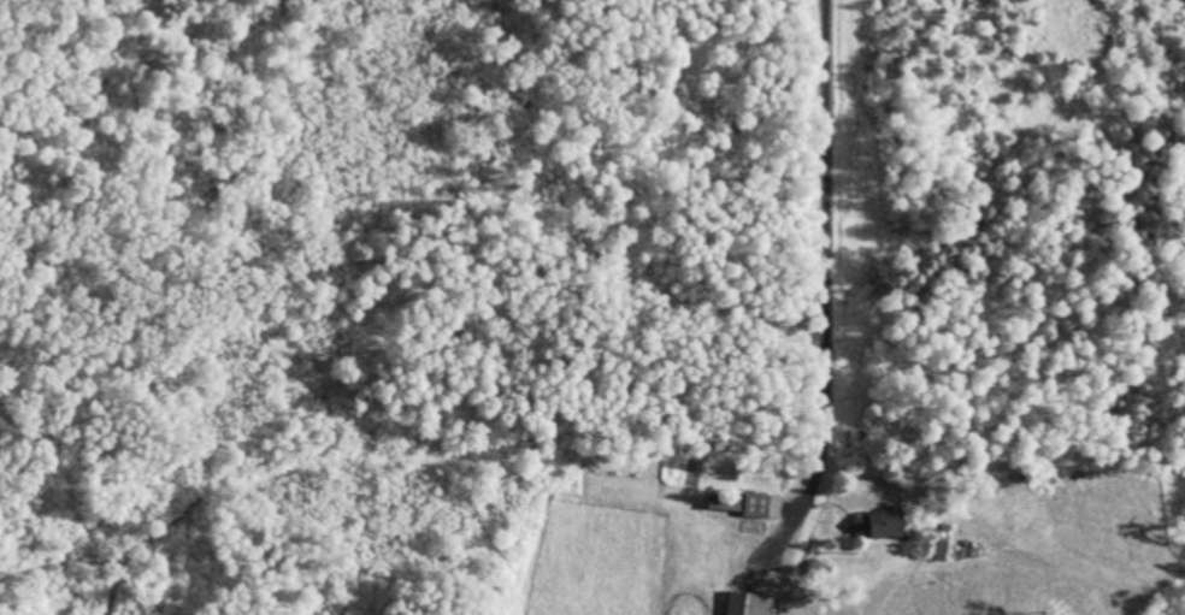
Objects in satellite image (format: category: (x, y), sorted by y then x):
road: (826, 215)
building: (732, 505)
building: (873, 527)
building: (742, 605)

